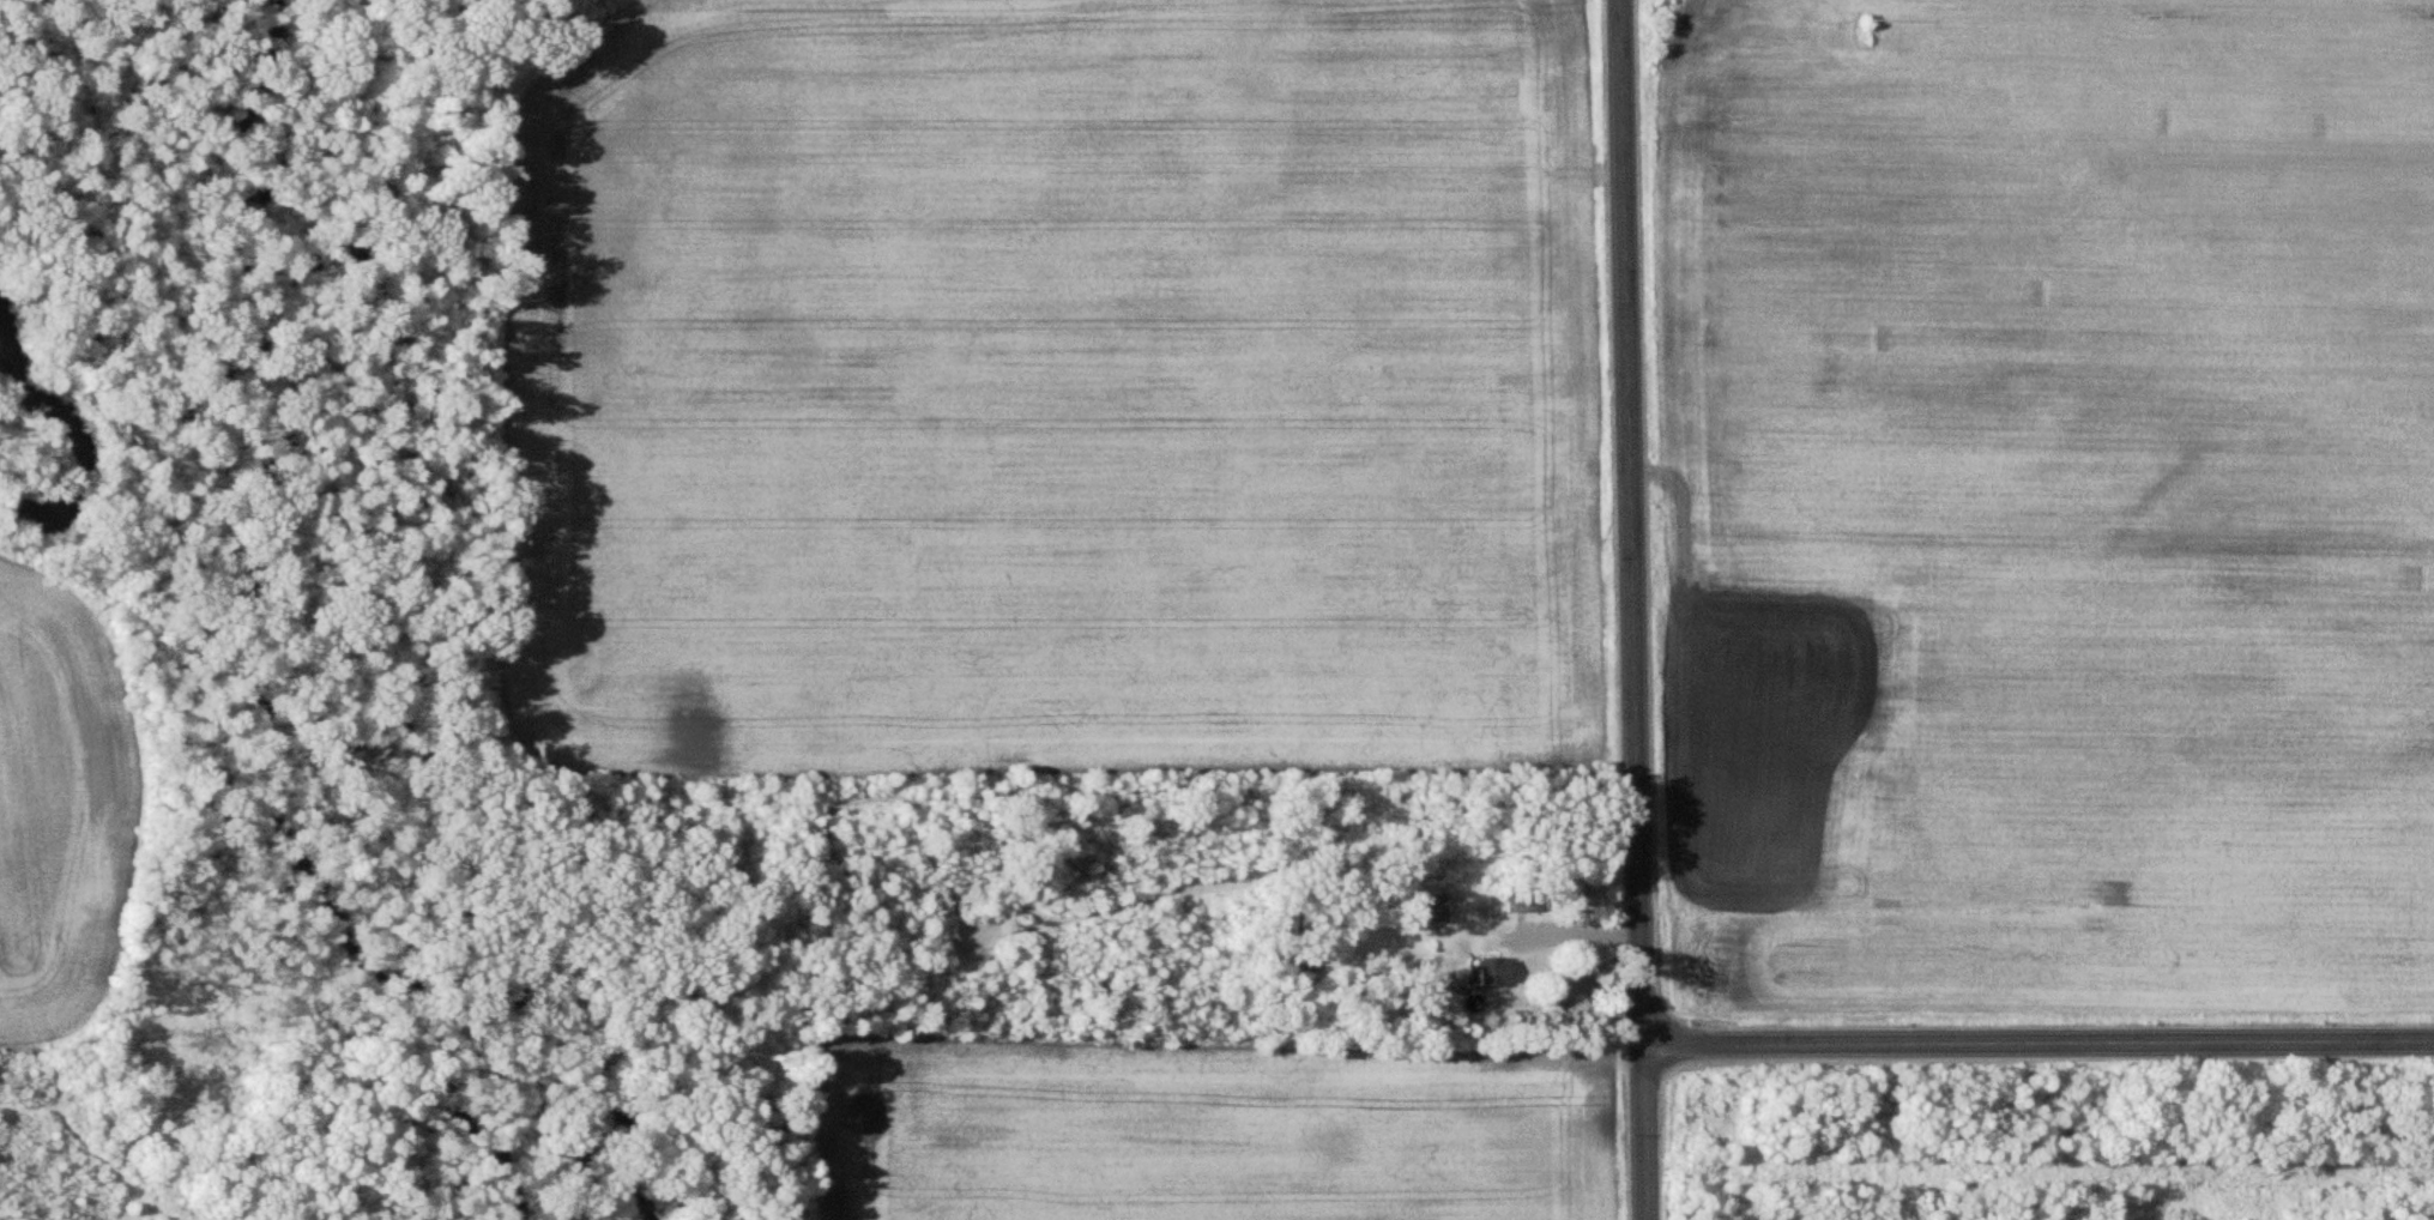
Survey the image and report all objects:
road: (1633, 609)
building: (1570, 884)
road: (1577, 932)
building: (1491, 971)
road: (2039, 1045)

